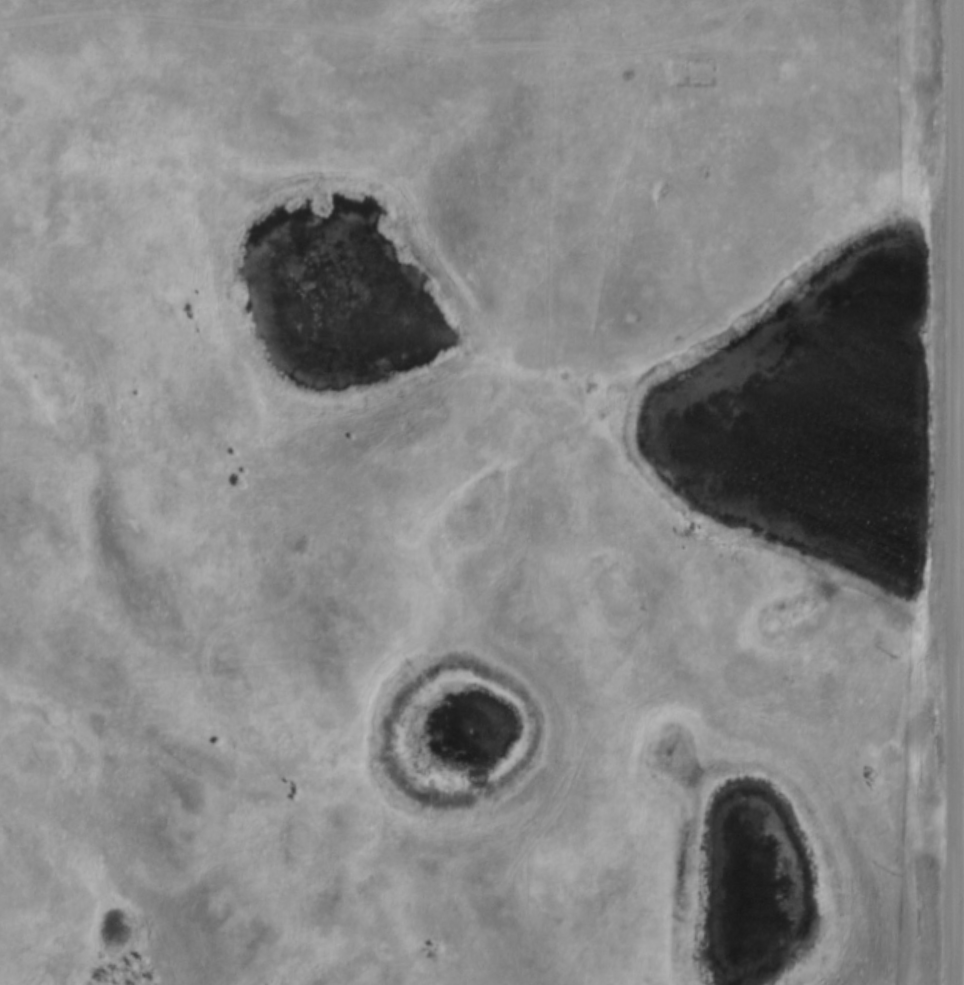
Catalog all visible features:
road: (952, 492)

